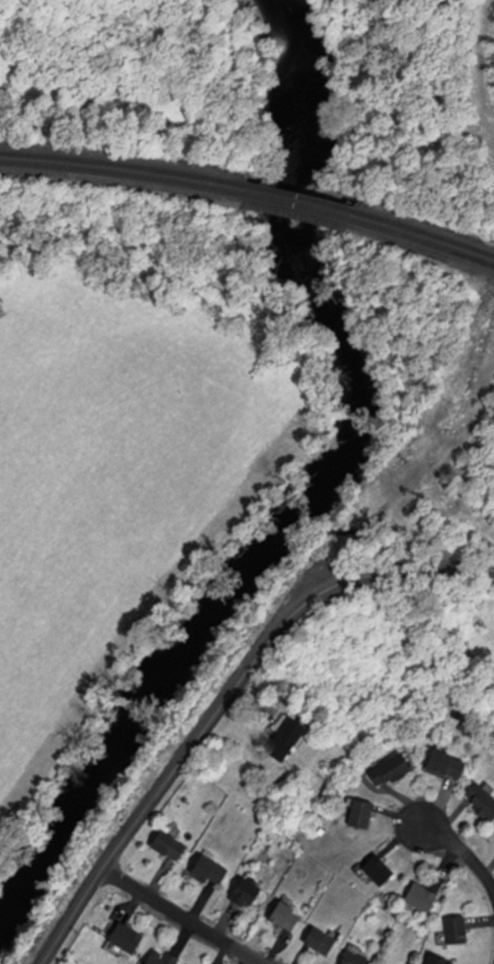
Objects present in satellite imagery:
railway: (121, 165)
railway: (120, 174)
railway: (296, 196)
railway: (295, 205)
railway: (423, 230)
railway: (423, 239)
river: (315, 484)
road: (227, 701)
building: (289, 738)
building: (448, 766)
building: (392, 771)
building: (483, 801)
building: (363, 814)
building: (171, 846)
road: (466, 851)
building: (380, 871)
building: (247, 896)
building: (424, 898)
road: (184, 916)
building: (287, 917)
building: (458, 931)
building: (126, 942)
building: (322, 942)
building: (163, 958)
building: (357, 959)
building: (440, 960)

